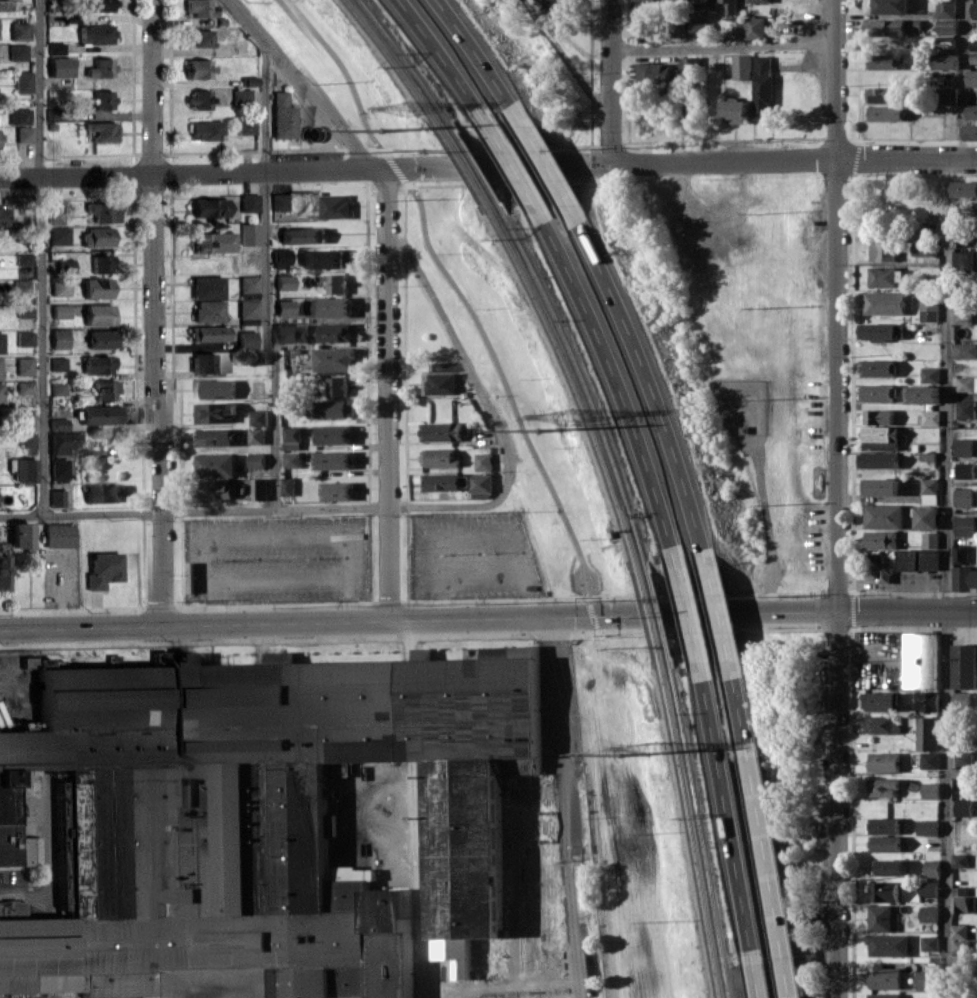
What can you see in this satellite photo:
building: (755, 1)
building: (105, 4)
building: (13, 5)
building: (537, 5)
building: (727, 6)
building: (888, 6)
building: (205, 7)
building: (556, 7)
building: (943, 9)
building: (973, 9)
building: (0, 25)
building: (695, 27)
building: (752, 27)
building: (884, 27)
building: (943, 27)
building: (677, 28)
building: (643, 29)
building: (735, 30)
building: (23, 31)
building: (100, 33)
building: (208, 38)
building: (60, 47)
road: (723, 47)
building: (22, 51)
building: (972, 52)
railway: (404, 58)
road: (482, 59)
railway: (391, 60)
road: (446, 61)
building: (880, 61)
building: (943, 61)
road: (563, 64)
building: (686, 65)
building: (64, 67)
building: (105, 67)
building: (738, 67)
building: (206, 68)
road: (340, 70)
building: (651, 74)
building: (971, 78)
road: (961, 80)
building: (26, 81)
building: (256, 81)
road: (301, 82)
road: (608, 82)
building: (759, 87)
building: (944, 94)
building: (975, 94)
building: (247, 96)
building: (207, 98)
building: (107, 99)
power tower: (408, 109)
building: (733, 110)
building: (971, 111)
building: (882, 112)
building: (23, 115)
building: (290, 117)
building: (252, 127)
building: (106, 130)
building: (212, 130)
power tower: (376, 131)
building: (970, 131)
building: (28, 133)
building: (1, 139)
road: (412, 150)
road: (189, 153)
road: (907, 160)
railway: (460, 163)
railway: (473, 163)
road: (390, 165)
road: (419, 168)
road: (551, 171)
road: (518, 172)
building: (964, 188)
building: (285, 202)
building: (255, 203)
building: (334, 206)
building: (106, 208)
building: (215, 208)
building: (5, 215)
building: (60, 215)
building: (63, 234)
building: (255, 234)
building: (304, 236)
building: (106, 237)
building: (220, 242)
building: (921, 248)
building: (879, 251)
road: (175, 256)
road: (45, 257)
building: (287, 259)
building: (329, 260)
building: (27, 263)
building: (105, 263)
building: (70, 267)
road: (271, 275)
building: (882, 276)
building: (291, 282)
building: (255, 283)
building: (335, 285)
building: (24, 286)
building: (65, 286)
building: (213, 287)
building: (102, 289)
building: (882, 303)
building: (333, 306)
building: (926, 306)
building: (290, 307)
building: (254, 309)
building: (28, 310)
building: (65, 311)
building: (214, 311)
road: (139, 313)
road: (160, 313)
building: (959, 313)
building: (104, 314)
building: (877, 331)
building: (333, 333)
building: (215, 334)
building: (293, 334)
building: (28, 338)
building: (105, 339)
building: (254, 339)
building: (65, 340)
road: (365, 341)
building: (2, 342)
road: (402, 345)
building: (963, 350)
building: (256, 357)
building: (291, 360)
building: (332, 360)
building: (63, 363)
building: (210, 363)
building: (103, 364)
building: (27, 365)
building: (1, 367)
building: (874, 368)
building: (927, 375)
railway: (570, 378)
railway: (582, 378)
building: (440, 382)
building: (965, 383)
road: (620, 385)
road: (653, 385)
building: (27, 387)
building: (337, 387)
building: (63, 389)
building: (216, 389)
building: (112, 390)
building: (1, 392)
building: (875, 392)
road: (506, 394)
building: (920, 394)
road: (387, 395)
building: (291, 408)
building: (963, 409)
building: (330, 410)
building: (213, 412)
road: (487, 413)
building: (106, 414)
power tower: (564, 416)
building: (876, 416)
building: (256, 417)
building: (928, 417)
building: (62, 420)
building: (28, 421)
building: (742, 429)
power tower: (533, 431)
building: (875, 433)
building: (290, 434)
building: (440, 434)
building: (333, 435)
building: (254, 437)
building: (214, 438)
building: (28, 440)
building: (67, 442)
building: (868, 444)
building: (960, 447)
building: (875, 459)
building: (332, 460)
building: (439, 460)
building: (256, 461)
building: (290, 461)
building: (480, 462)
building: (215, 466)
building: (27, 468)
building: (63, 468)
building: (962, 470)
building: (442, 485)
building: (284, 486)
building: (478, 486)
building: (879, 487)
building: (926, 487)
building: (258, 490)
building: (213, 491)
building: (336, 492)
building: (104, 493)
building: (61, 496)
road: (841, 498)
road: (193, 513)
building: (881, 516)
building: (923, 517)
road: (763, 524)
building: (962, 525)
building: (63, 535)
building: (25, 537)
building: (878, 539)
building: (927, 540)
building: (957, 554)
building: (914, 559)
building: (6, 562)
building: (107, 570)
building: (881, 573)
road: (944, 579)
building: (963, 579)
road: (61, 591)
road: (909, 613)
railway: (648, 615)
railway: (659, 615)
road: (715, 615)
road: (723, 615)
road: (693, 616)
road: (294, 623)
road: (592, 653)
building: (919, 660)
building: (962, 665)
building: (892, 677)
building: (958, 699)
building: (876, 701)
building: (923, 701)
road: (744, 713)
building: (880, 723)
building: (924, 733)
power tower: (652, 751)
power tower: (614, 755)
building: (960, 758)
building: (926, 760)
building: (881, 761)
building: (880, 787)
building: (927, 790)
building: (976, 795)
road: (604, 807)
building: (960, 807)
road: (565, 808)
building: (266, 812)
road: (731, 815)
building: (881, 825)
building: (925, 827)
railway: (691, 833)
railway: (702, 834)
building: (882, 843)
building: (32, 849)
building: (957, 860)
building: (886, 867)
building: (929, 868)
road: (772, 875)
building: (925, 890)
building: (880, 891)
building: (956, 891)
building: (960, 904)
building: (925, 913)
building: (877, 918)
building: (956, 931)
building: (927, 943)
building: (885, 944)
road: (760, 975)
building: (881, 976)
building: (924, 979)
road: (506, 984)
building: (881, 995)
building: (115, 996)
building: (922, 997)

